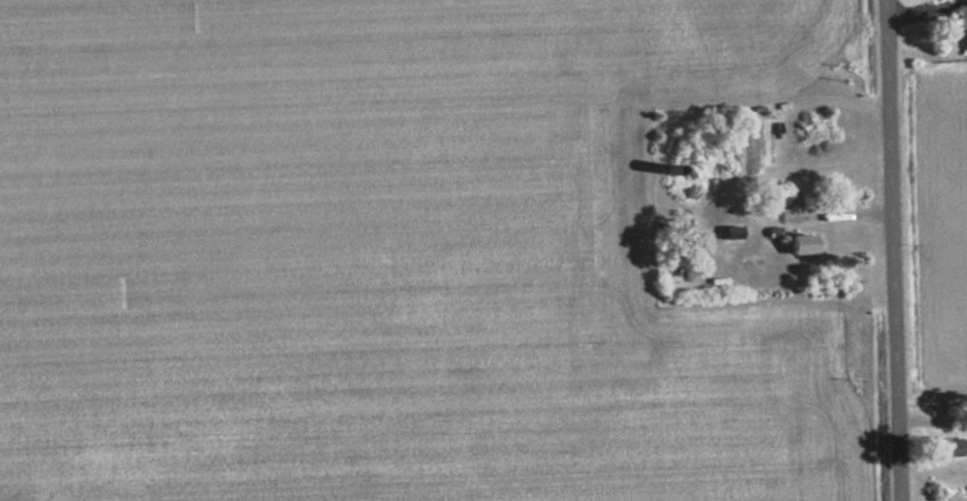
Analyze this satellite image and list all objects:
building: (963, 21)
building: (786, 197)
building: (806, 244)
road: (891, 250)
building: (950, 448)

